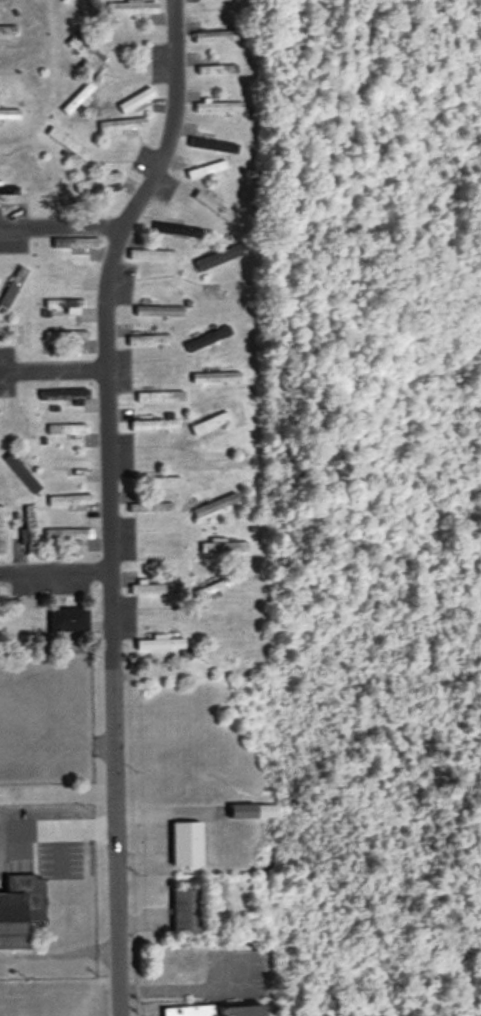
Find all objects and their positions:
building: (215, 6)
building: (219, 37)
building: (86, 56)
building: (217, 70)
building: (136, 101)
building: (217, 108)
building: (10, 115)
building: (124, 124)
building: (207, 170)
building: (99, 182)
road: (61, 225)
building: (180, 231)
building: (153, 256)
building: (222, 258)
building: (66, 271)
building: (13, 288)
building: (64, 308)
building: (160, 312)
building: (67, 336)
building: (208, 340)
building: (150, 341)
road: (52, 366)
building: (65, 396)
building: (161, 398)
building: (153, 426)
building: (68, 430)
building: (216, 464)
building: (72, 465)
building: (22, 473)
road: (107, 500)
building: (70, 501)
building: (216, 506)
building: (151, 508)
building: (2, 530)
building: (29, 530)
building: (224, 547)
road: (54, 568)
building: (216, 587)
building: (154, 590)
building: (69, 620)
building: (222, 626)
building: (159, 643)
building: (25, 740)
building: (265, 812)
road: (56, 826)
road: (154, 836)
building: (186, 844)
building: (19, 910)
building: (188, 910)
building: (176, 959)
building: (217, 1010)

